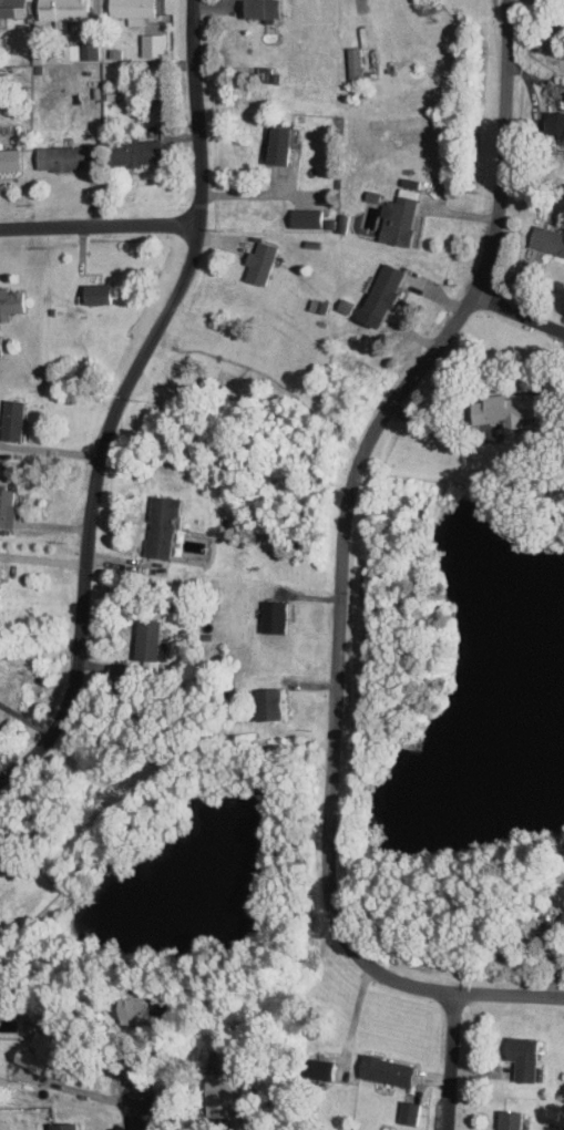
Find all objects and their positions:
building: (11, 8)
building: (63, 9)
building: (131, 9)
building: (256, 9)
building: (150, 43)
building: (71, 50)
building: (351, 61)
building: (552, 123)
building: (273, 143)
building: (131, 152)
building: (58, 157)
building: (8, 160)
building: (409, 189)
road: (256, 195)
building: (304, 217)
building: (396, 219)
road: (101, 227)
building: (546, 239)
building: (257, 263)
building: (380, 289)
building: (91, 292)
building: (10, 301)
road: (517, 312)
road: (124, 399)
building: (10, 419)
road: (51, 449)
building: (6, 506)
building: (158, 526)
road: (44, 559)
road: (349, 568)
building: (269, 616)
building: (143, 638)
building: (265, 703)
building: (561, 916)
road: (353, 1017)
building: (519, 1057)
road: (452, 1062)
building: (315, 1068)
building: (382, 1070)
building: (406, 1111)
road: (135, 1116)
building: (505, 1119)
building: (60, 1126)

